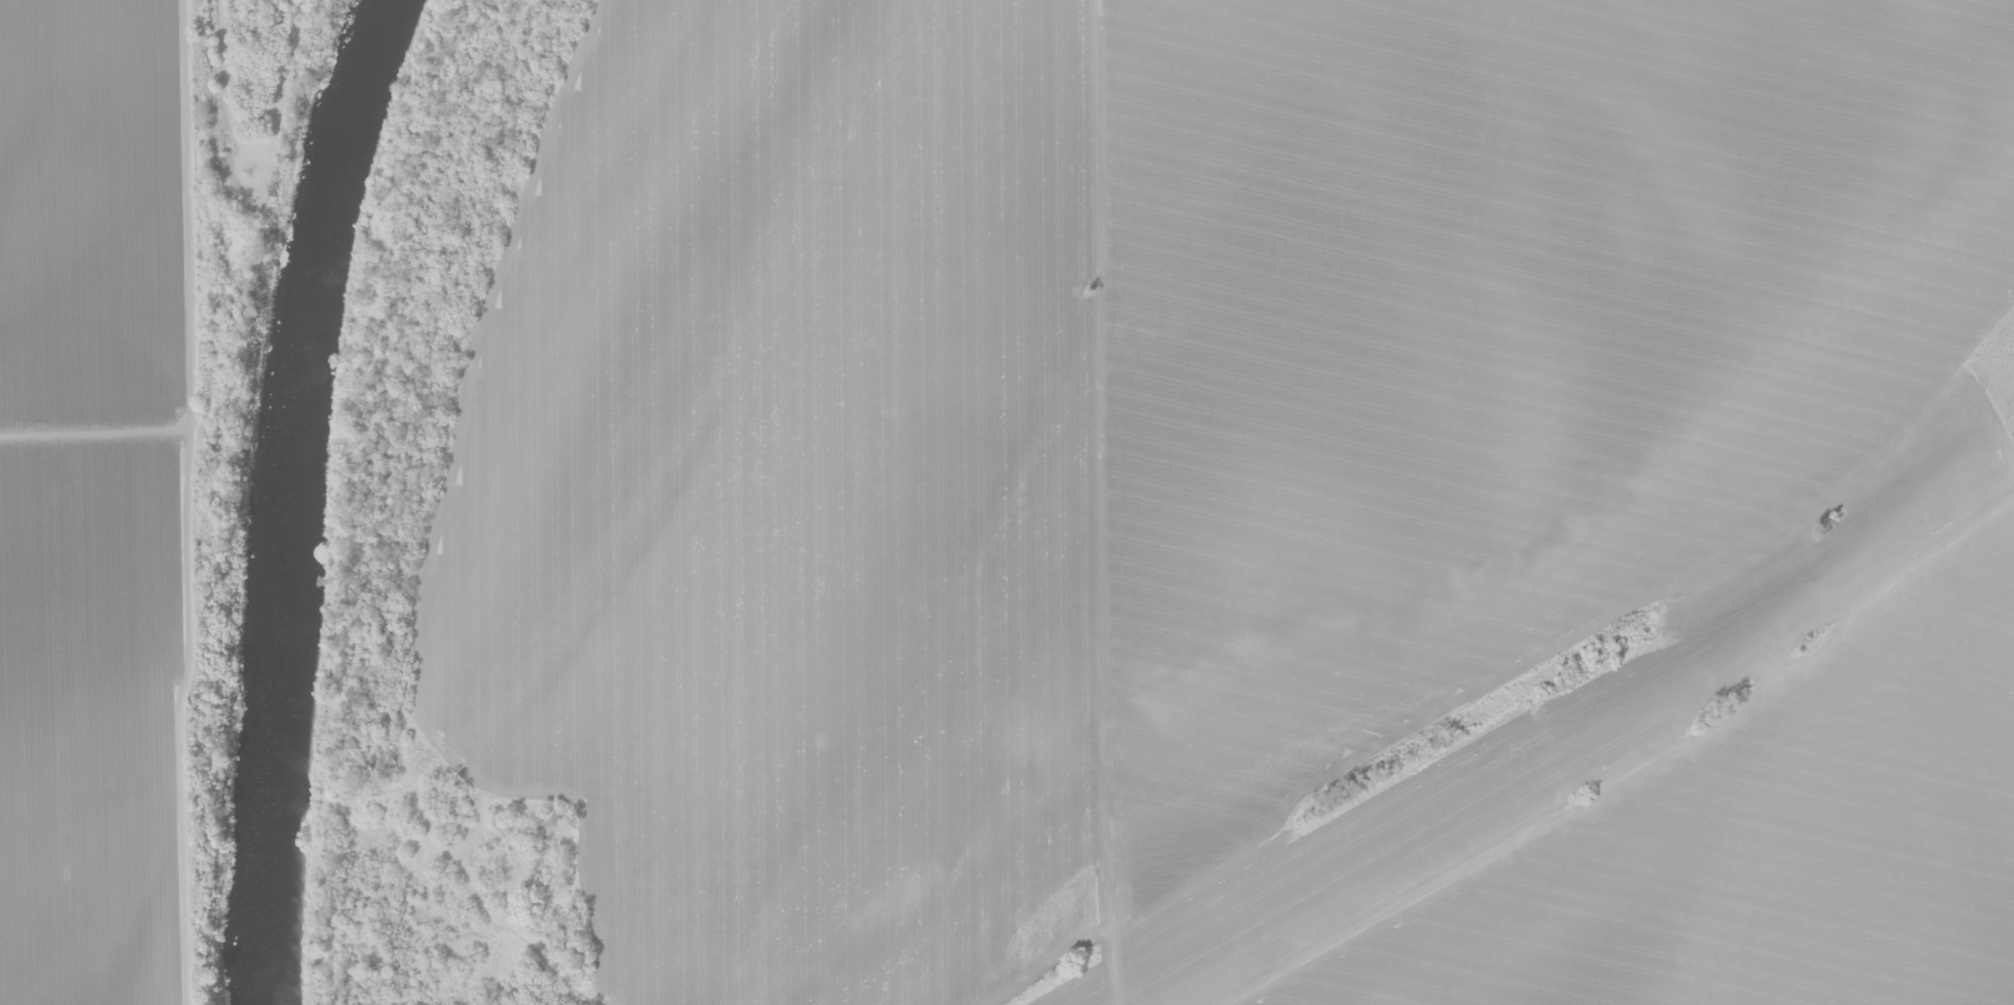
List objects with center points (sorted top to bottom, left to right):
river: (287, 497)

